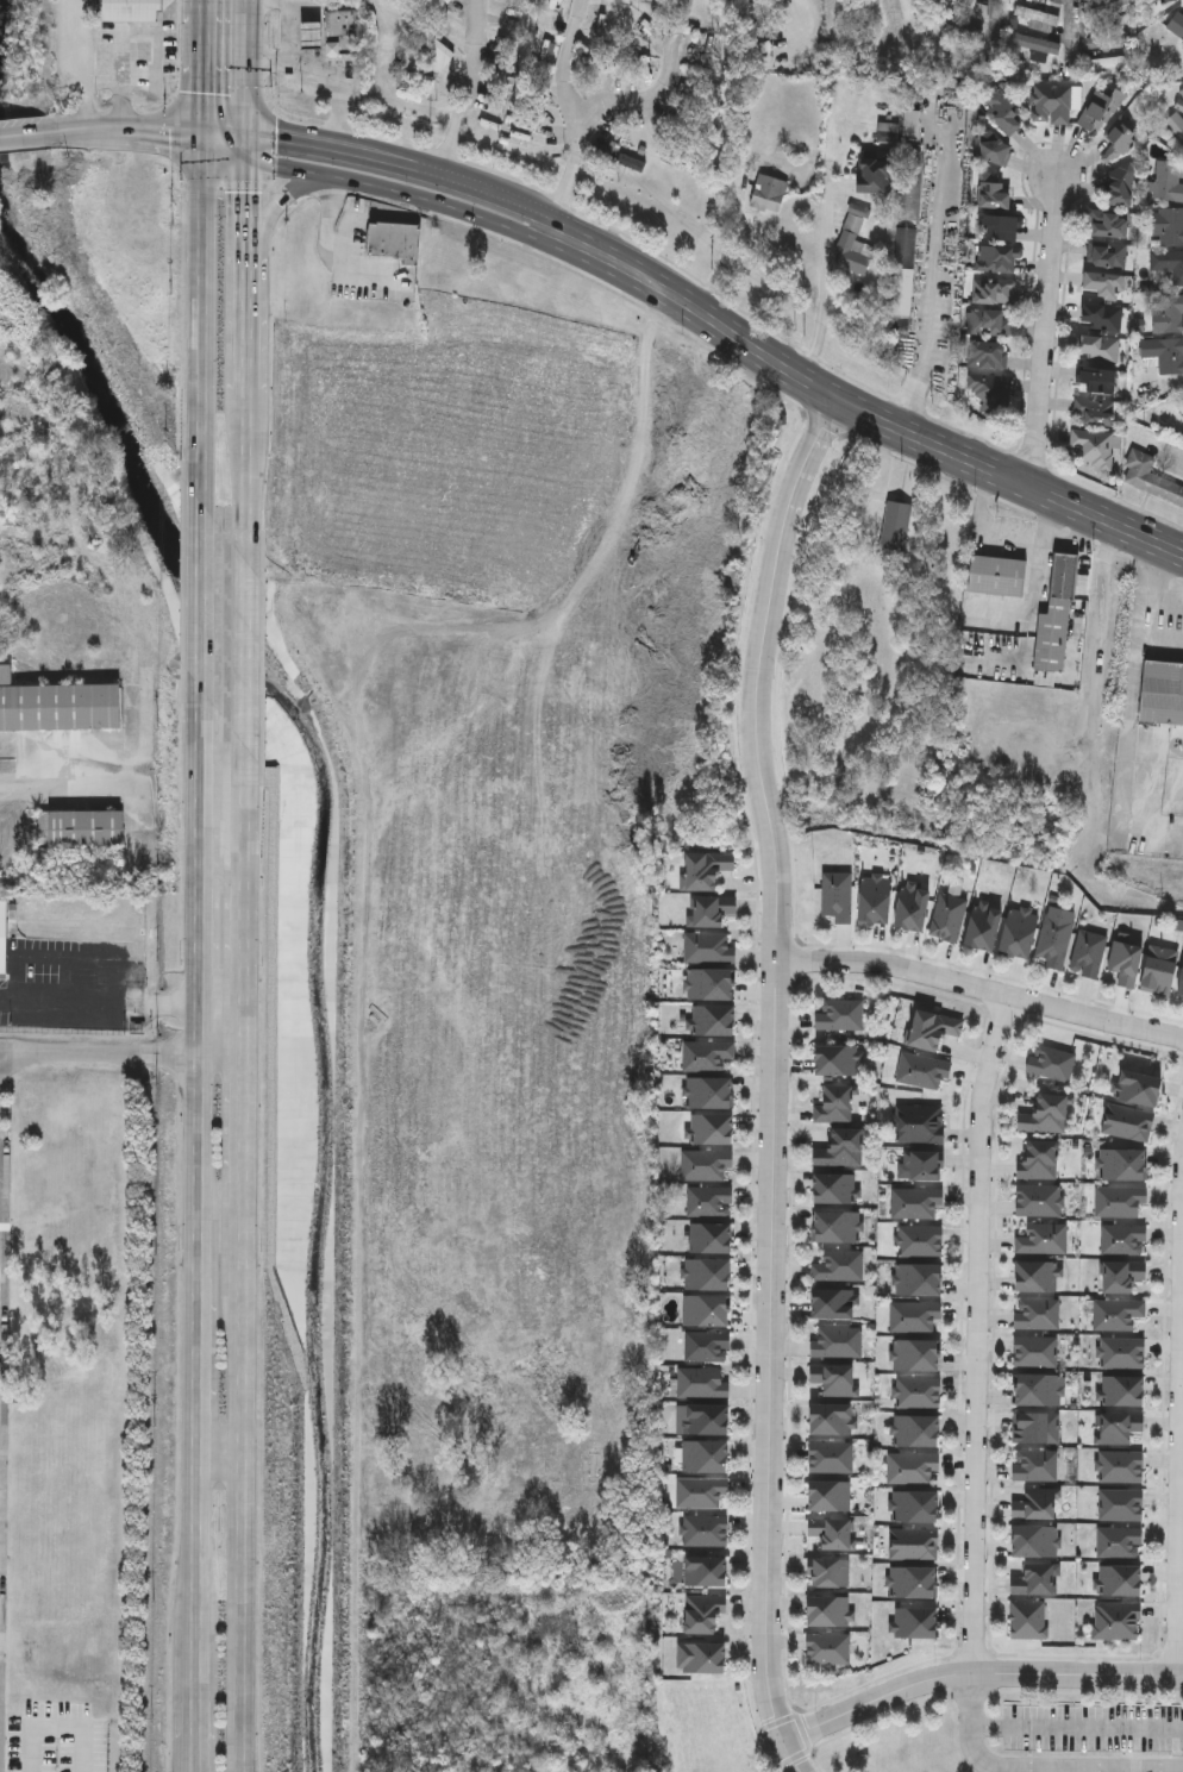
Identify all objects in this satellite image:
building: (1166, 0)
building: (966, 2)
building: (749, 8)
building: (1112, 8)
building: (131, 11)
building: (958, 26)
road: (1075, 26)
road: (292, 29)
road: (993, 29)
building: (1177, 29)
building: (332, 33)
road: (119, 38)
building: (1106, 39)
building: (703, 43)
building: (1032, 43)
gas station: (313, 54)
road: (570, 56)
road: (270, 62)
road: (248, 64)
road: (81, 67)
road: (202, 68)
road: (465, 87)
road: (340, 88)
road: (662, 88)
building: (1052, 100)
building: (1100, 108)
building: (1002, 111)
building: (912, 123)
building: (1175, 124)
traffic signals: (248, 130)
road: (225, 132)
road: (127, 134)
road: (26, 136)
traffic signals: (202, 136)
building: (1120, 137)
road: (318, 140)
road: (248, 145)
road: (225, 148)
building: (994, 149)
traffic signals: (248, 161)
road: (570, 173)
building: (871, 175)
building: (1169, 179)
building: (913, 183)
building: (1121, 184)
road: (480, 186)
building: (768, 190)
building: (991, 190)
road: (406, 192)
road: (270, 217)
building: (1107, 223)
building: (1168, 225)
building: (996, 226)
road: (246, 227)
building: (394, 239)
building: (853, 242)
road: (345, 244)
road: (331, 251)
building: (1104, 253)
building: (996, 257)
building: (1168, 263)
building: (905, 268)
road: (931, 278)
building: (1104, 283)
building: (993, 290)
road: (200, 300)
building: (1166, 313)
building: (1102, 314)
road: (822, 317)
building: (990, 320)
road: (1049, 328)
road: (246, 343)
building: (1096, 344)
building: (1166, 352)
building: (987, 353)
building: (987, 390)
building: (1182, 395)
building: (1095, 397)
building: (1182, 399)
road: (863, 409)
road: (245, 446)
building: (1091, 446)
building: (1150, 474)
building: (894, 524)
road: (1003, 533)
building: (997, 574)
road: (199, 576)
road: (1034, 589)
road: (244, 607)
road: (1144, 607)
building: (1057, 613)
building: (586, 655)
building: (1162, 691)
building: (57, 702)
road: (55, 791)
building: (81, 826)
building: (705, 870)
road: (244, 885)
building: (837, 896)
building: (875, 900)
building: (910, 907)
building: (709, 910)
building: (947, 916)
building: (983, 927)
building: (1018, 932)
building: (4, 937)
building: (1054, 940)
building: (708, 948)
building: (1088, 953)
building: (1125, 960)
building: (1158, 970)
building: (709, 984)
building: (1179, 985)
road: (983, 989)
road: (195, 991)
road: (121, 1001)
building: (838, 1014)
building: (712, 1021)
building: (931, 1028)
road: (121, 1053)
building: (707, 1054)
building: (835, 1059)
building: (1051, 1063)
building: (921, 1070)
road: (780, 1081)
building: (1138, 1088)
building: (708, 1094)
building: (833, 1102)
building: (1045, 1114)
road: (243, 1119)
building: (1127, 1122)
building: (918, 1125)
building: (709, 1129)
building: (839, 1150)
building: (1038, 1159)
building: (703, 1164)
building: (1125, 1164)
building: (921, 1166)
building: (835, 1189)
building: (1038, 1200)
building: (708, 1201)
building: (1120, 1201)
building: (915, 1202)
building: (837, 1227)
building: (708, 1236)
building: (1043, 1239)
building: (1123, 1239)
building: (919, 1241)
building: (838, 1265)
building: (705, 1273)
building: (1037, 1275)
building: (1121, 1275)
building: (918, 1278)
building: (831, 1302)
building: (705, 1309)
building: (1118, 1313)
building: (1037, 1314)
building: (913, 1315)
road: (983, 1334)
building: (835, 1341)
building: (705, 1345)
building: (1035, 1351)
building: (1122, 1352)
building: (915, 1354)
road: (192, 1370)
road: (0, 1377)
building: (832, 1378)
building: (699, 1382)
building: (1037, 1389)
building: (1122, 1390)
building: (918, 1392)
building: (703, 1419)
building: (828, 1419)
building: (1118, 1426)
building: (1035, 1427)
building: (915, 1430)
road: (215, 1447)
building: (701, 1455)
building: (828, 1457)
building: (1034, 1465)
building: (910, 1466)
building: (1120, 1466)
road: (240, 1476)
building: (699, 1492)
building: (826, 1495)
building: (1034, 1503)
building: (1120, 1504)
building: (914, 1505)
building: (703, 1530)
building: (827, 1533)
building: (1, 1536)
road: (190, 1540)
building: (1032, 1541)
building: (1118, 1541)
building: (912, 1544)
building: (702, 1570)
building: (826, 1572)
building: (1034, 1579)
building: (1119, 1579)
building: (912, 1582)
building: (826, 1611)
building: (701, 1613)
road: (1182, 1613)
building: (1027, 1620)
building: (1116, 1621)
building: (914, 1622)
building: (825, 1648)
building: (699, 1657)
road: (979, 1674)
road: (190, 1703)
road: (1077, 1726)
road: (1037, 1766)

